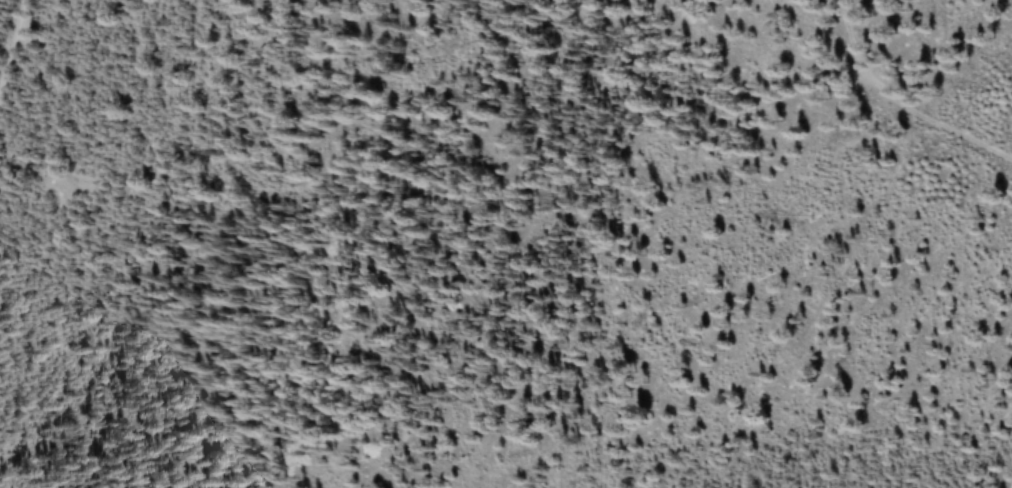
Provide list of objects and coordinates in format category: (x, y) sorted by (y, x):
road: (27, 86)

